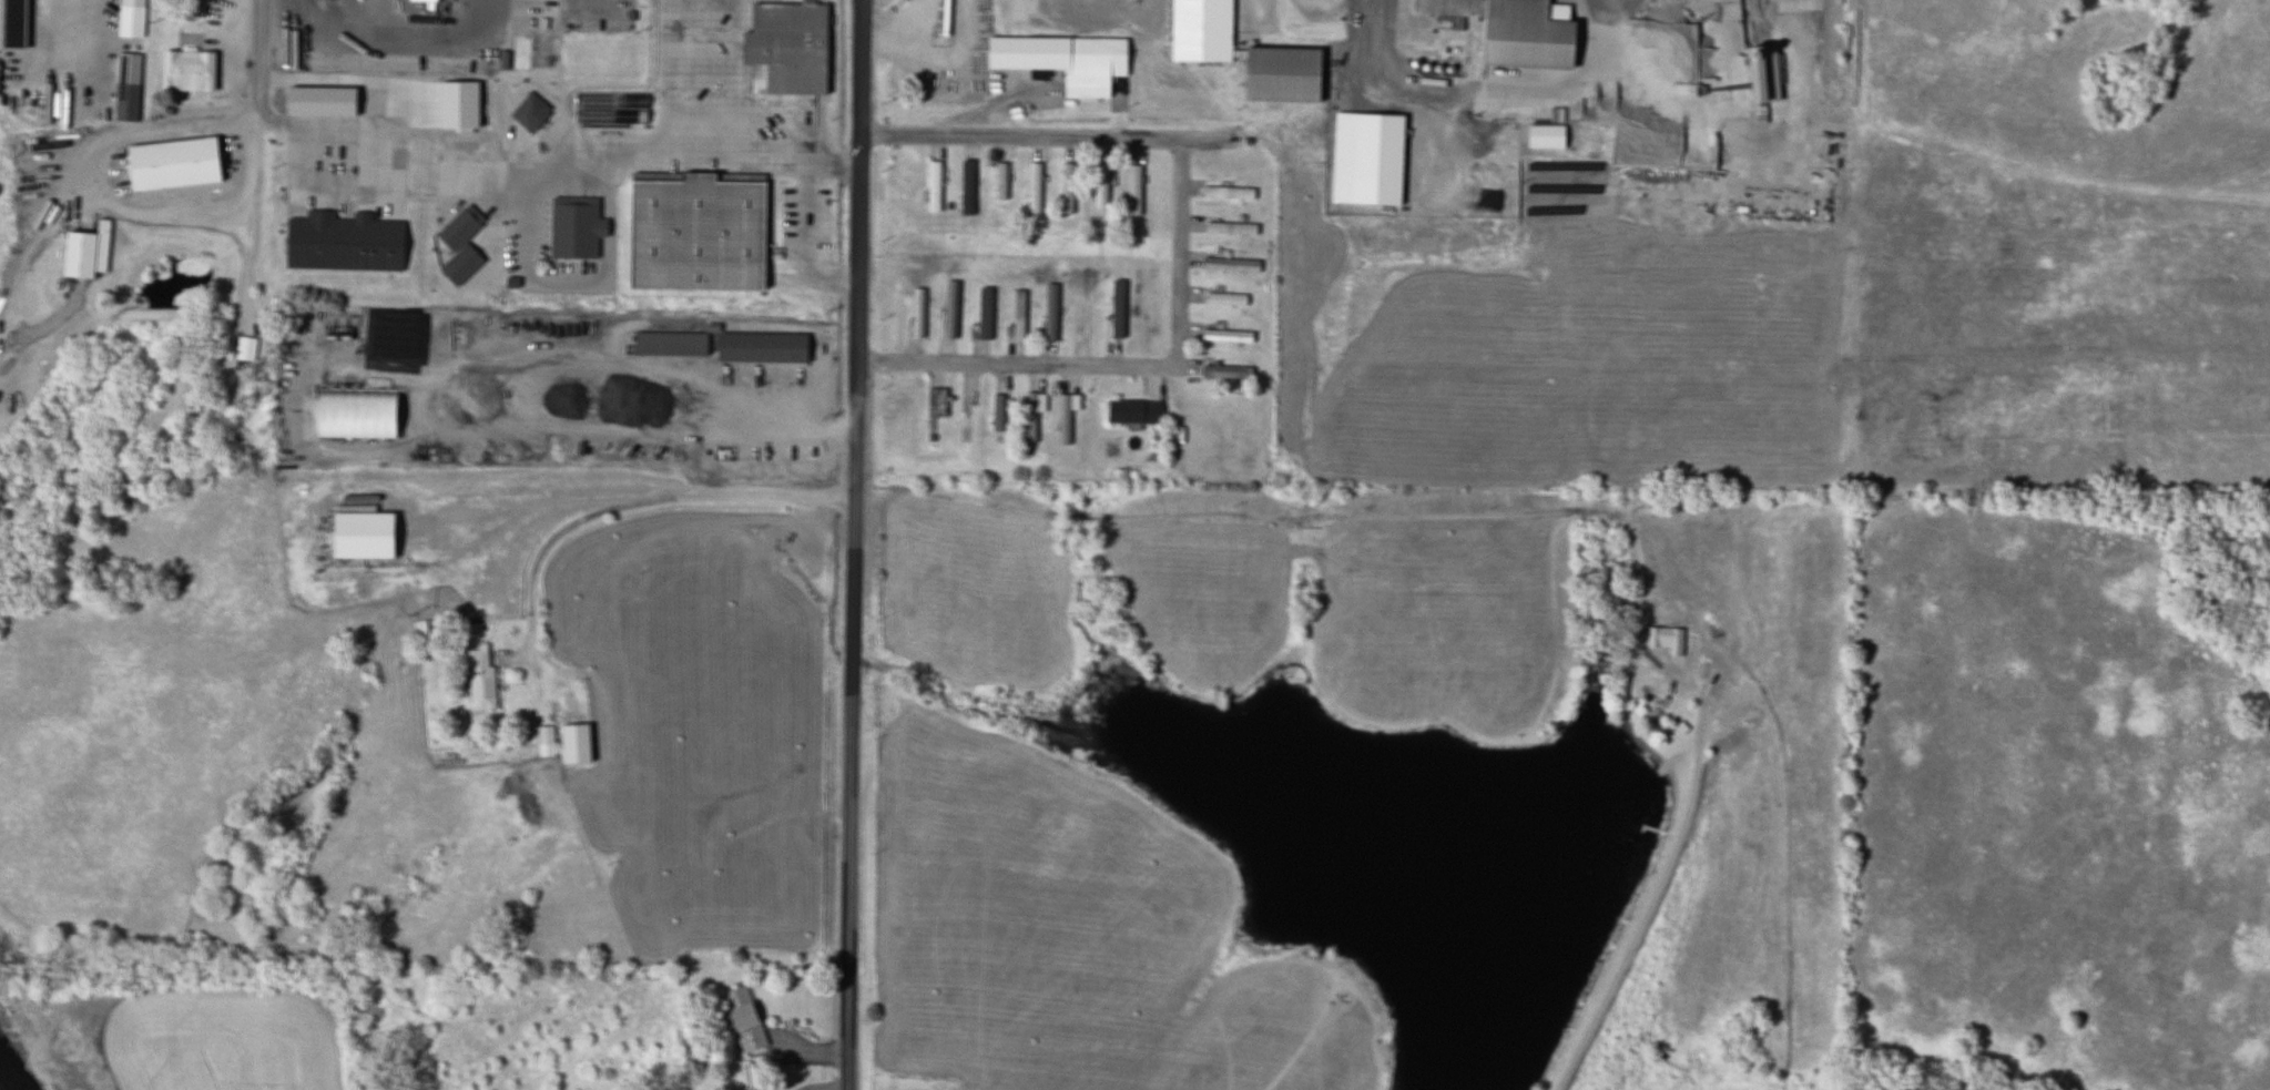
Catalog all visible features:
building: (423, 0)
building: (11, 10)
building: (129, 12)
building: (1200, 31)
building: (1510, 31)
building: (541, 47)
building: (785, 48)
building: (520, 53)
building: (1062, 61)
building: (1760, 74)
building: (199, 75)
building: (1279, 77)
road: (381, 82)
road: (269, 99)
building: (333, 102)
building: (124, 103)
road: (1020, 139)
building: (185, 164)
building: (999, 181)
building: (933, 186)
building: (1032, 189)
building: (1133, 191)
building: (1228, 193)
building: (458, 228)
building: (582, 228)
building: (1230, 228)
building: (695, 232)
building: (355, 243)
building: (85, 252)
road: (1179, 252)
building: (1116, 308)
building: (1017, 314)
building: (379, 332)
building: (1229, 336)
building: (669, 343)
building: (760, 346)
road: (1015, 364)
building: (1225, 371)
building: (935, 401)
building: (1132, 410)
building: (997, 411)
building: (354, 414)
building: (1031, 414)
building: (1065, 415)
building: (421, 539)
road: (855, 544)
building: (479, 679)
building: (544, 740)
building: (573, 743)
building: (741, 1018)
building: (764, 1088)
river: (0, 1089)

